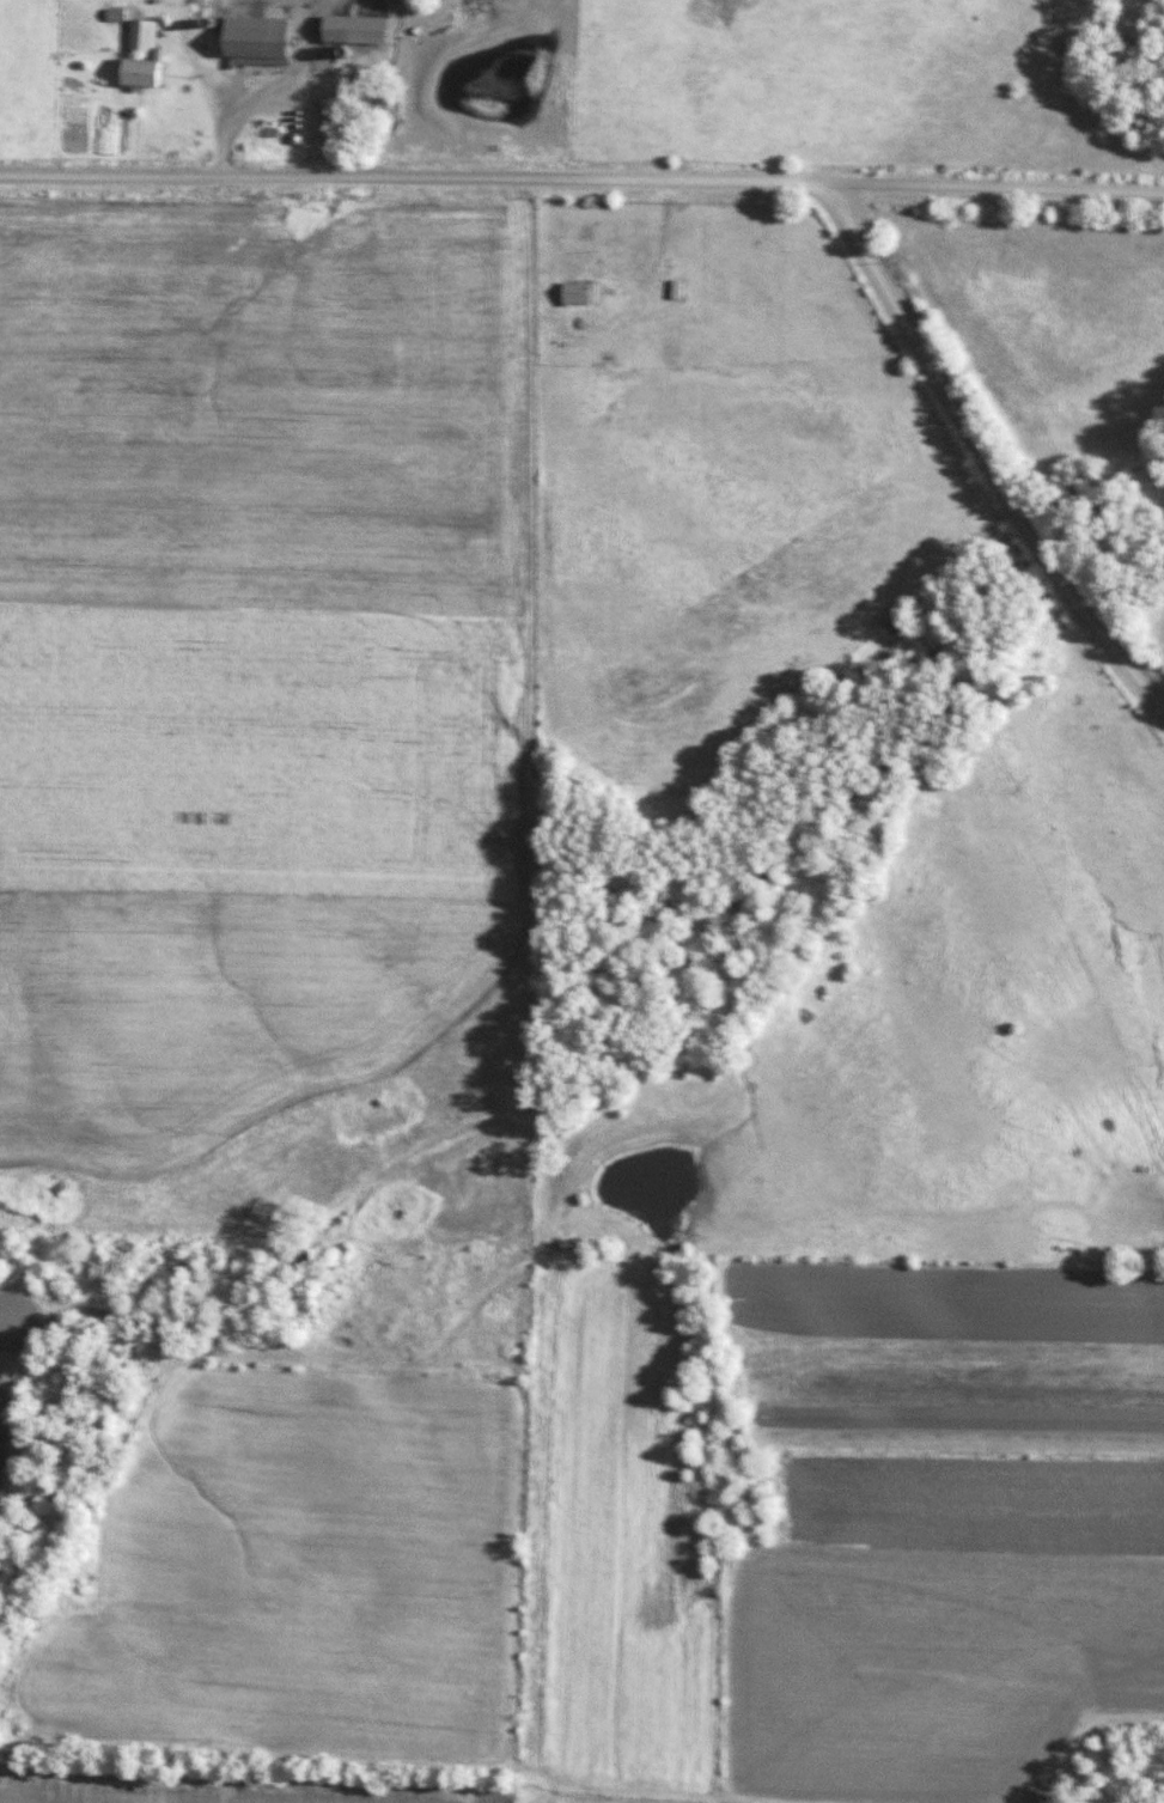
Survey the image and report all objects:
building: (267, 39)
building: (165, 53)
road: (309, 90)
road: (581, 183)
building: (586, 293)
road: (982, 461)

